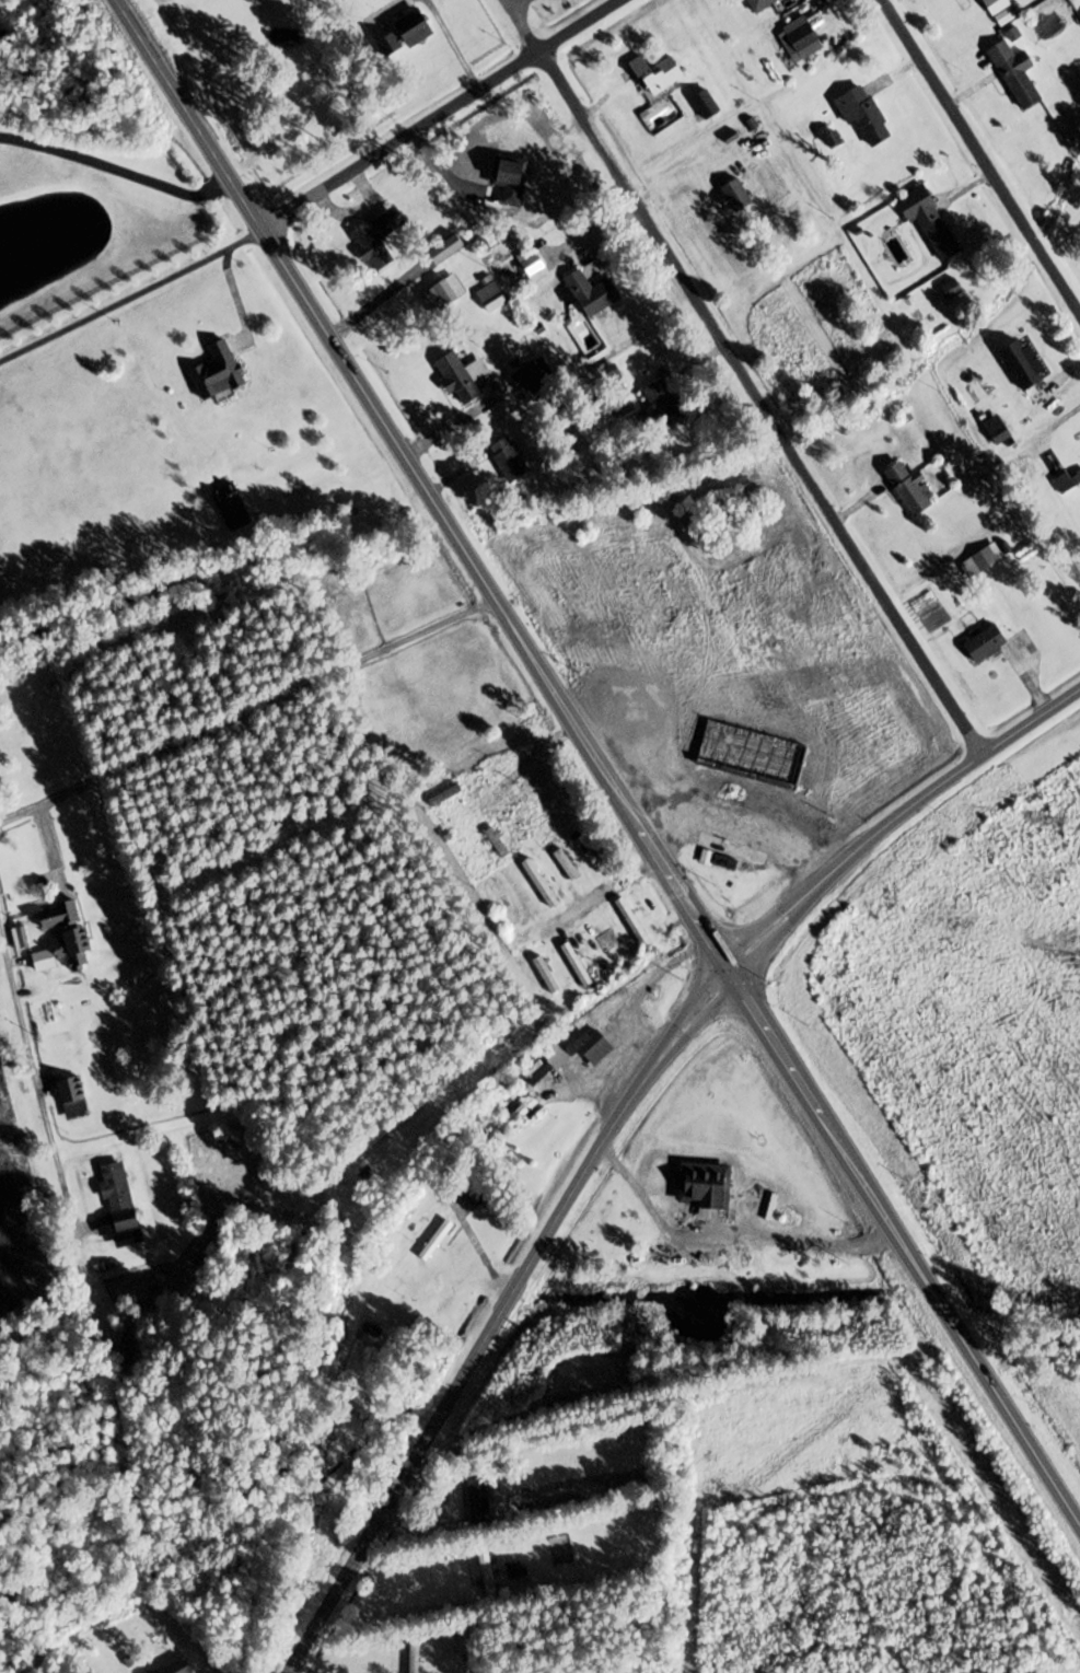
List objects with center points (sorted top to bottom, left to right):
building: (758, 3)
building: (1000, 11)
road: (523, 25)
building: (414, 26)
building: (803, 38)
building: (658, 73)
building: (1015, 73)
building: (705, 104)
road: (438, 113)
building: (862, 114)
road: (979, 161)
road: (132, 171)
building: (511, 175)
building: (733, 190)
building: (928, 221)
building: (376, 237)
building: (533, 264)
building: (951, 288)
building: (445, 292)
building: (589, 292)
road: (129, 294)
building: (490, 297)
building: (1021, 365)
building: (218, 372)
building: (461, 376)
road: (760, 404)
building: (661, 407)
building: (507, 460)
building: (1068, 481)
road: (420, 486)
building: (908, 488)
building: (223, 492)
building: (982, 561)
building: (985, 643)
road: (247, 712)
building: (750, 754)
road: (524, 765)
building: (444, 794)
road: (894, 816)
building: (497, 840)
building: (705, 858)
building: (724, 860)
building: (538, 882)
building: (511, 894)
building: (58, 915)
building: (634, 918)
building: (605, 940)
building: (70, 949)
building: (576, 962)
building: (590, 1045)
building: (535, 1071)
road: (37, 1089)
building: (72, 1097)
building: (516, 1114)
building: (704, 1185)
building: (473, 1195)
building: (118, 1196)
building: (434, 1241)
road: (727, 1243)
building: (294, 1251)
road: (902, 1251)
road: (500, 1315)
building: (370, 1331)
building: (126, 1348)
building: (483, 1499)
building: (558, 1549)
building: (512, 1568)
building: (486, 1573)
building: (413, 1658)
building: (176, 1668)

